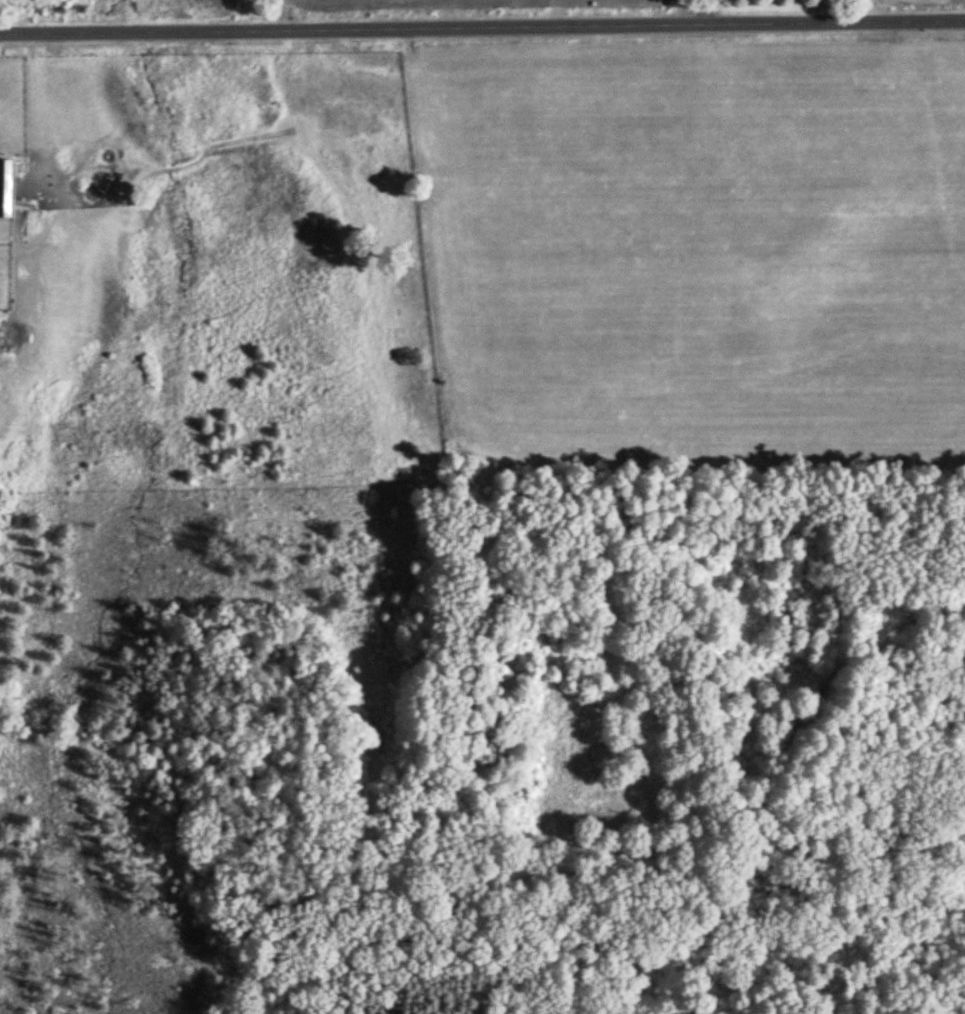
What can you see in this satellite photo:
crop: (449, 4)
road: (703, 14)
road: (482, 31)
building: (8, 187)

